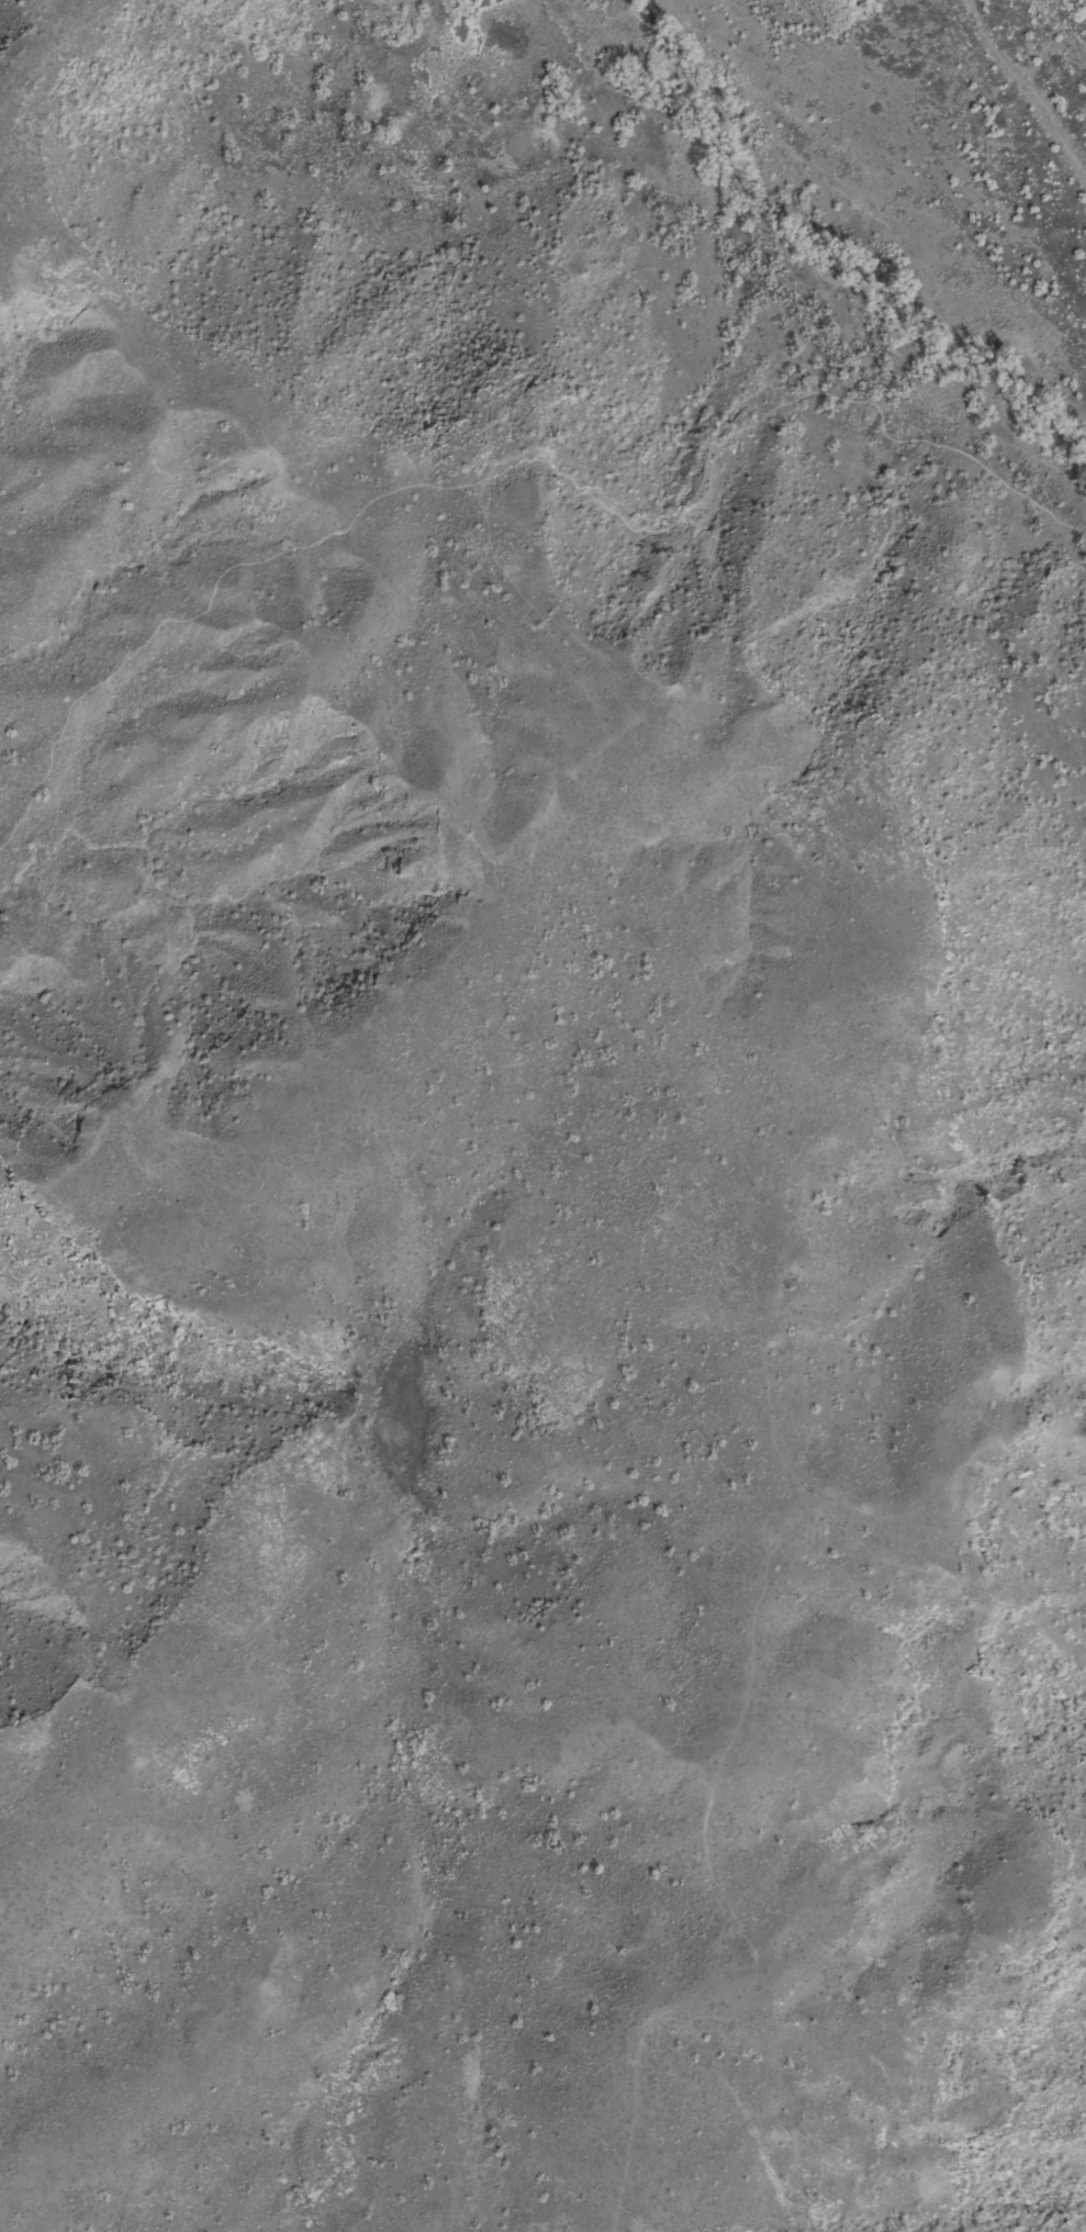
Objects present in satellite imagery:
road: (772, 1471)

